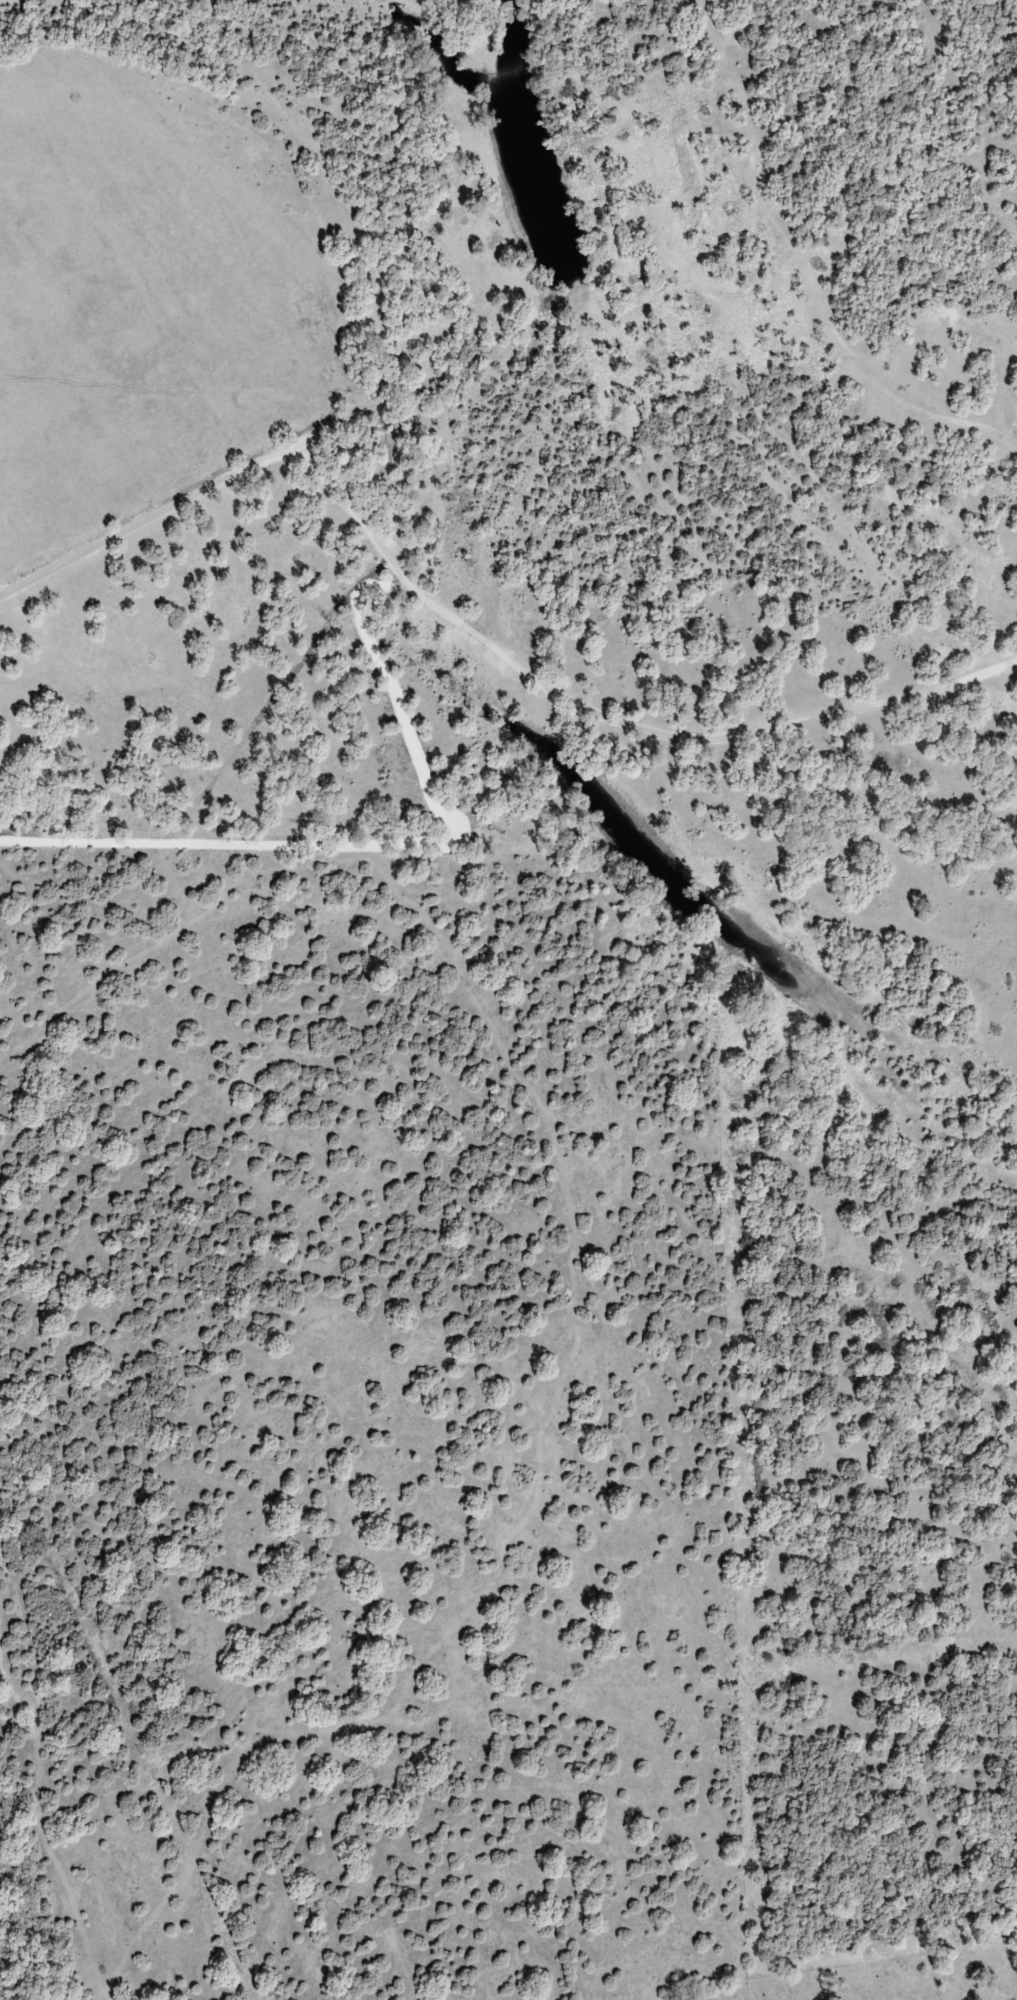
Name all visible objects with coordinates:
road: (472, 637)

